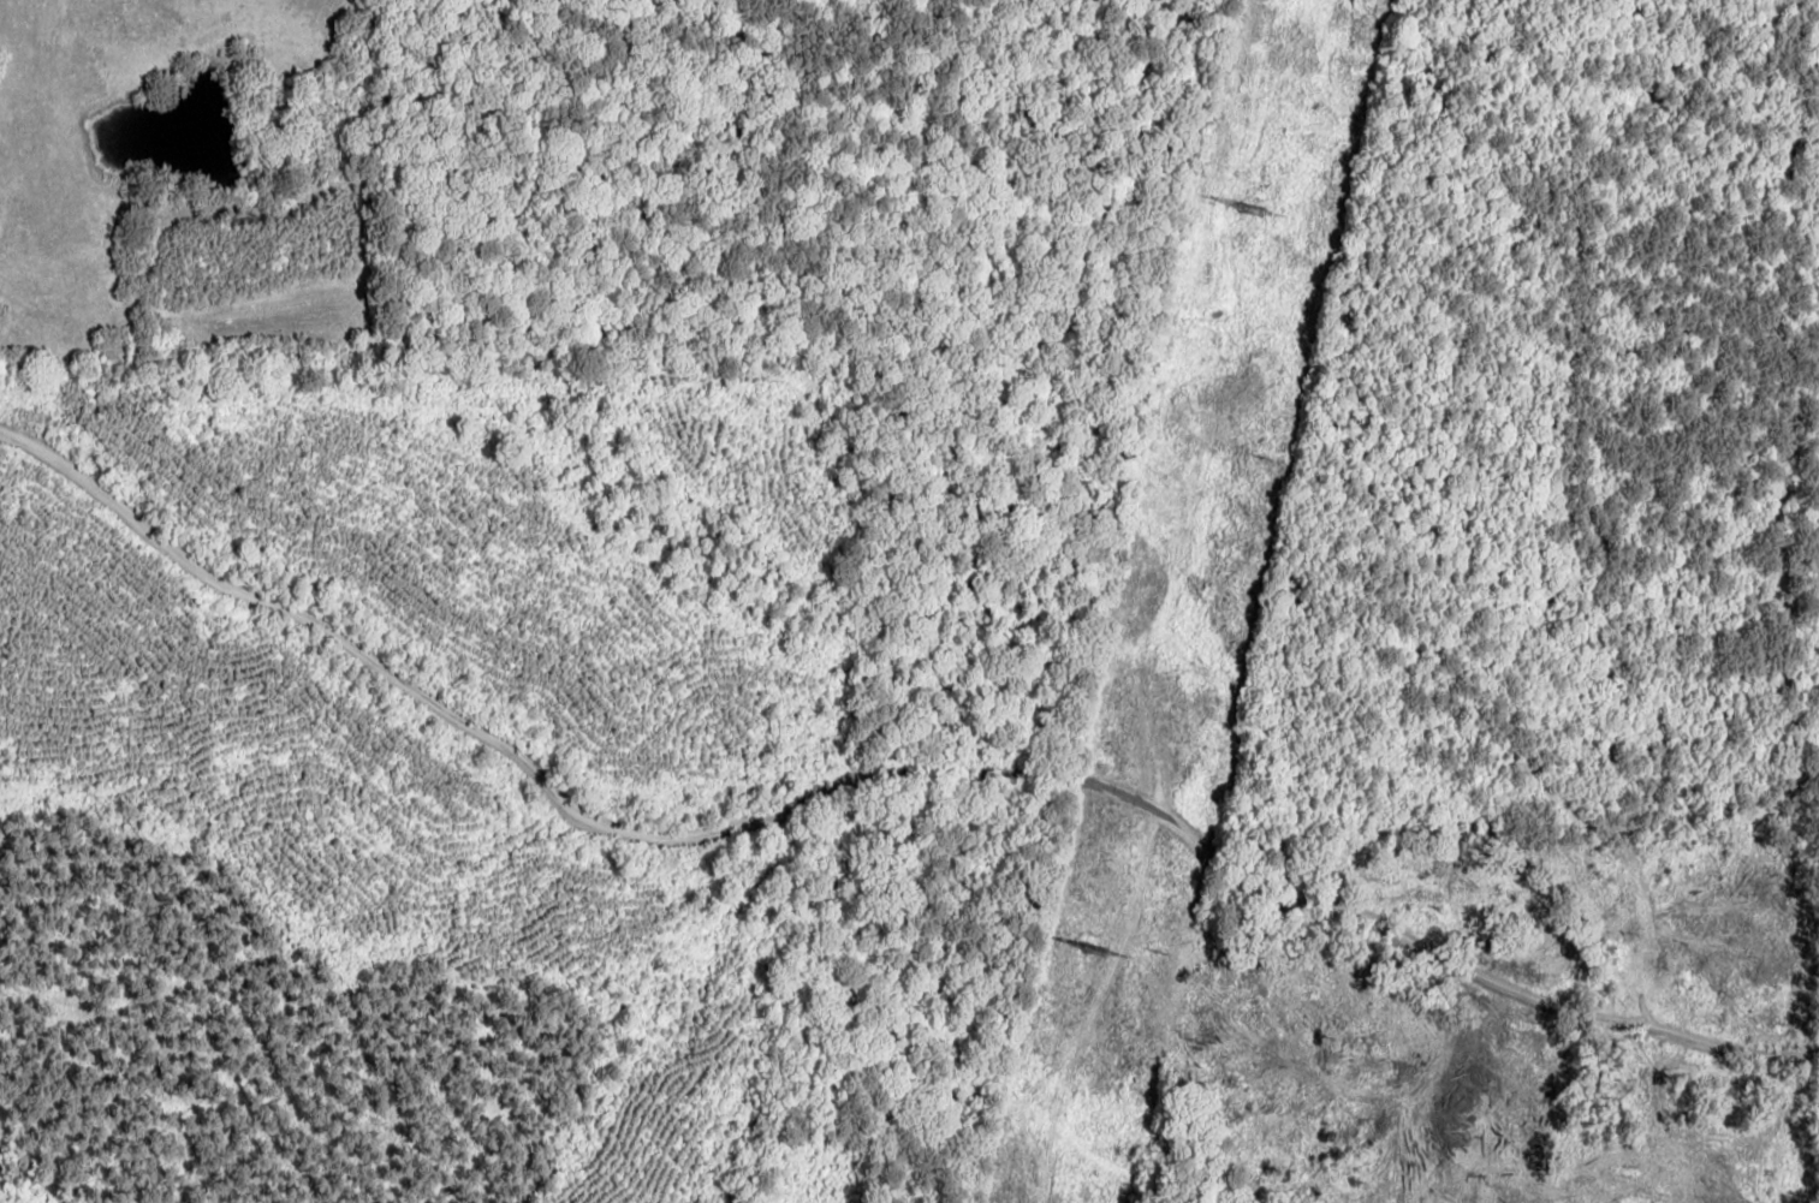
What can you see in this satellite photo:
power tower: (1246, 208)
road: (875, 851)
power tower: (1086, 955)

